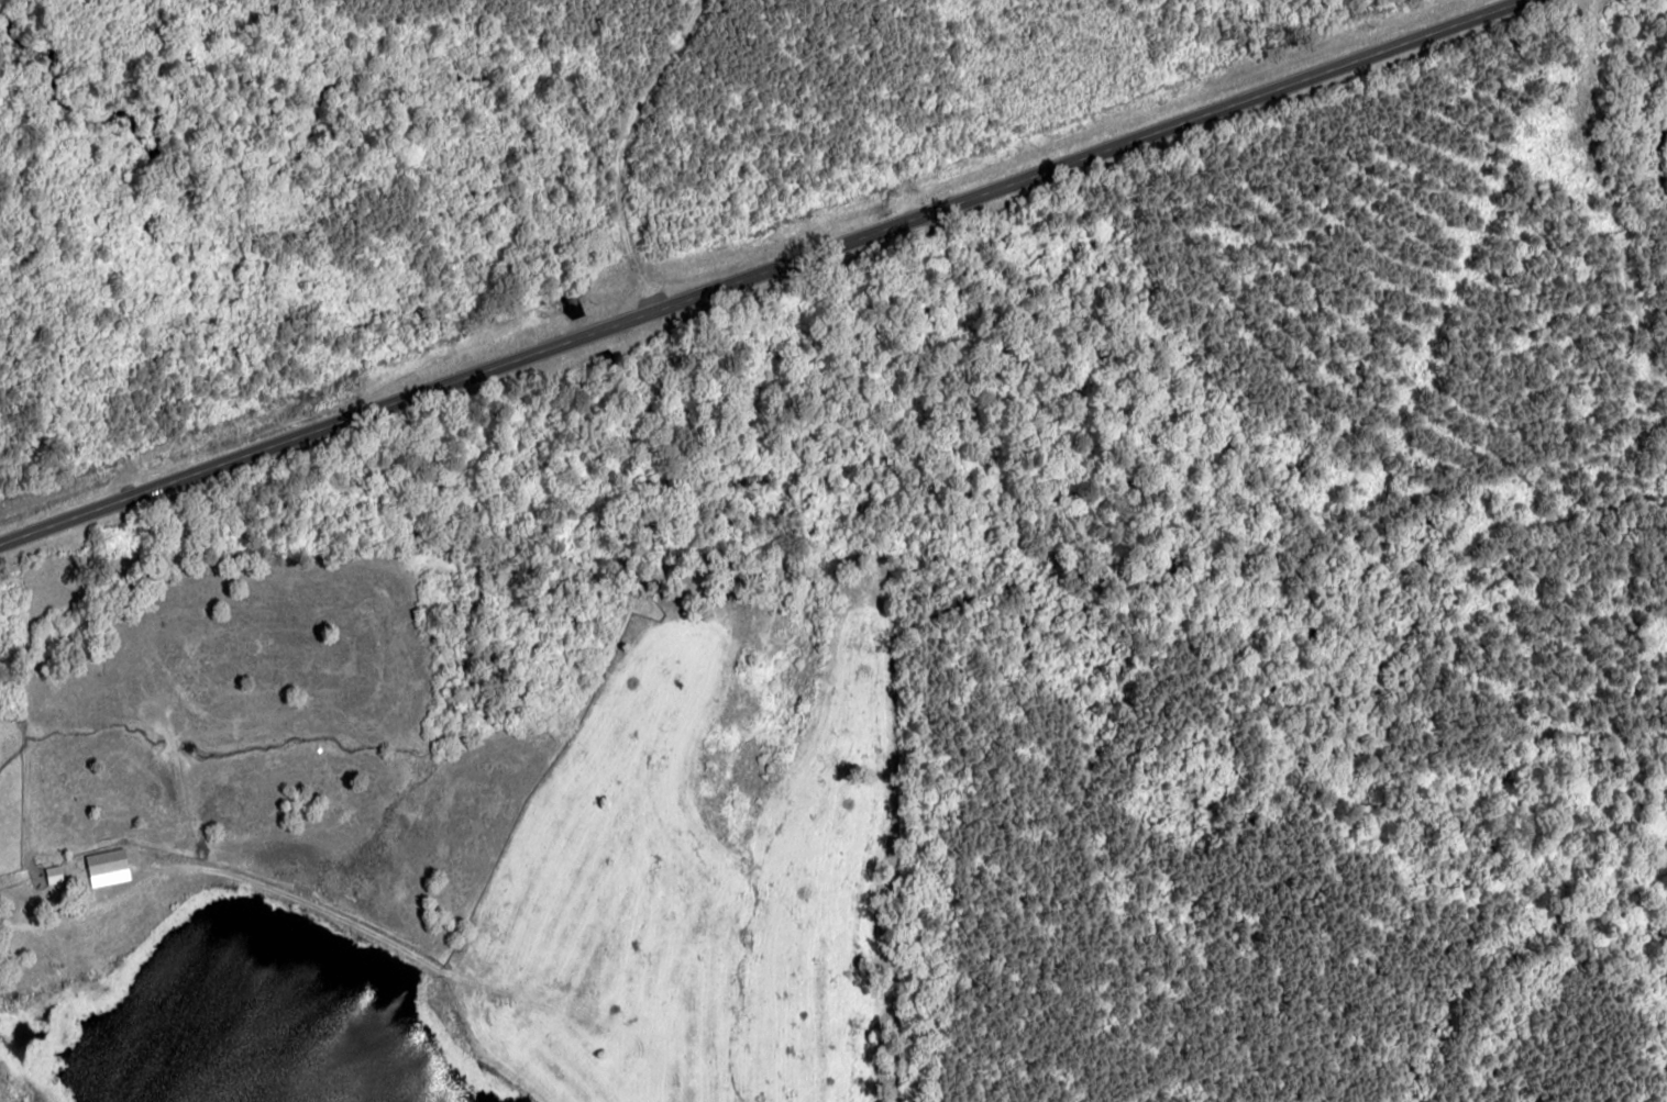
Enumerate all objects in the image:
road: (761, 272)
building: (107, 867)
building: (53, 875)

